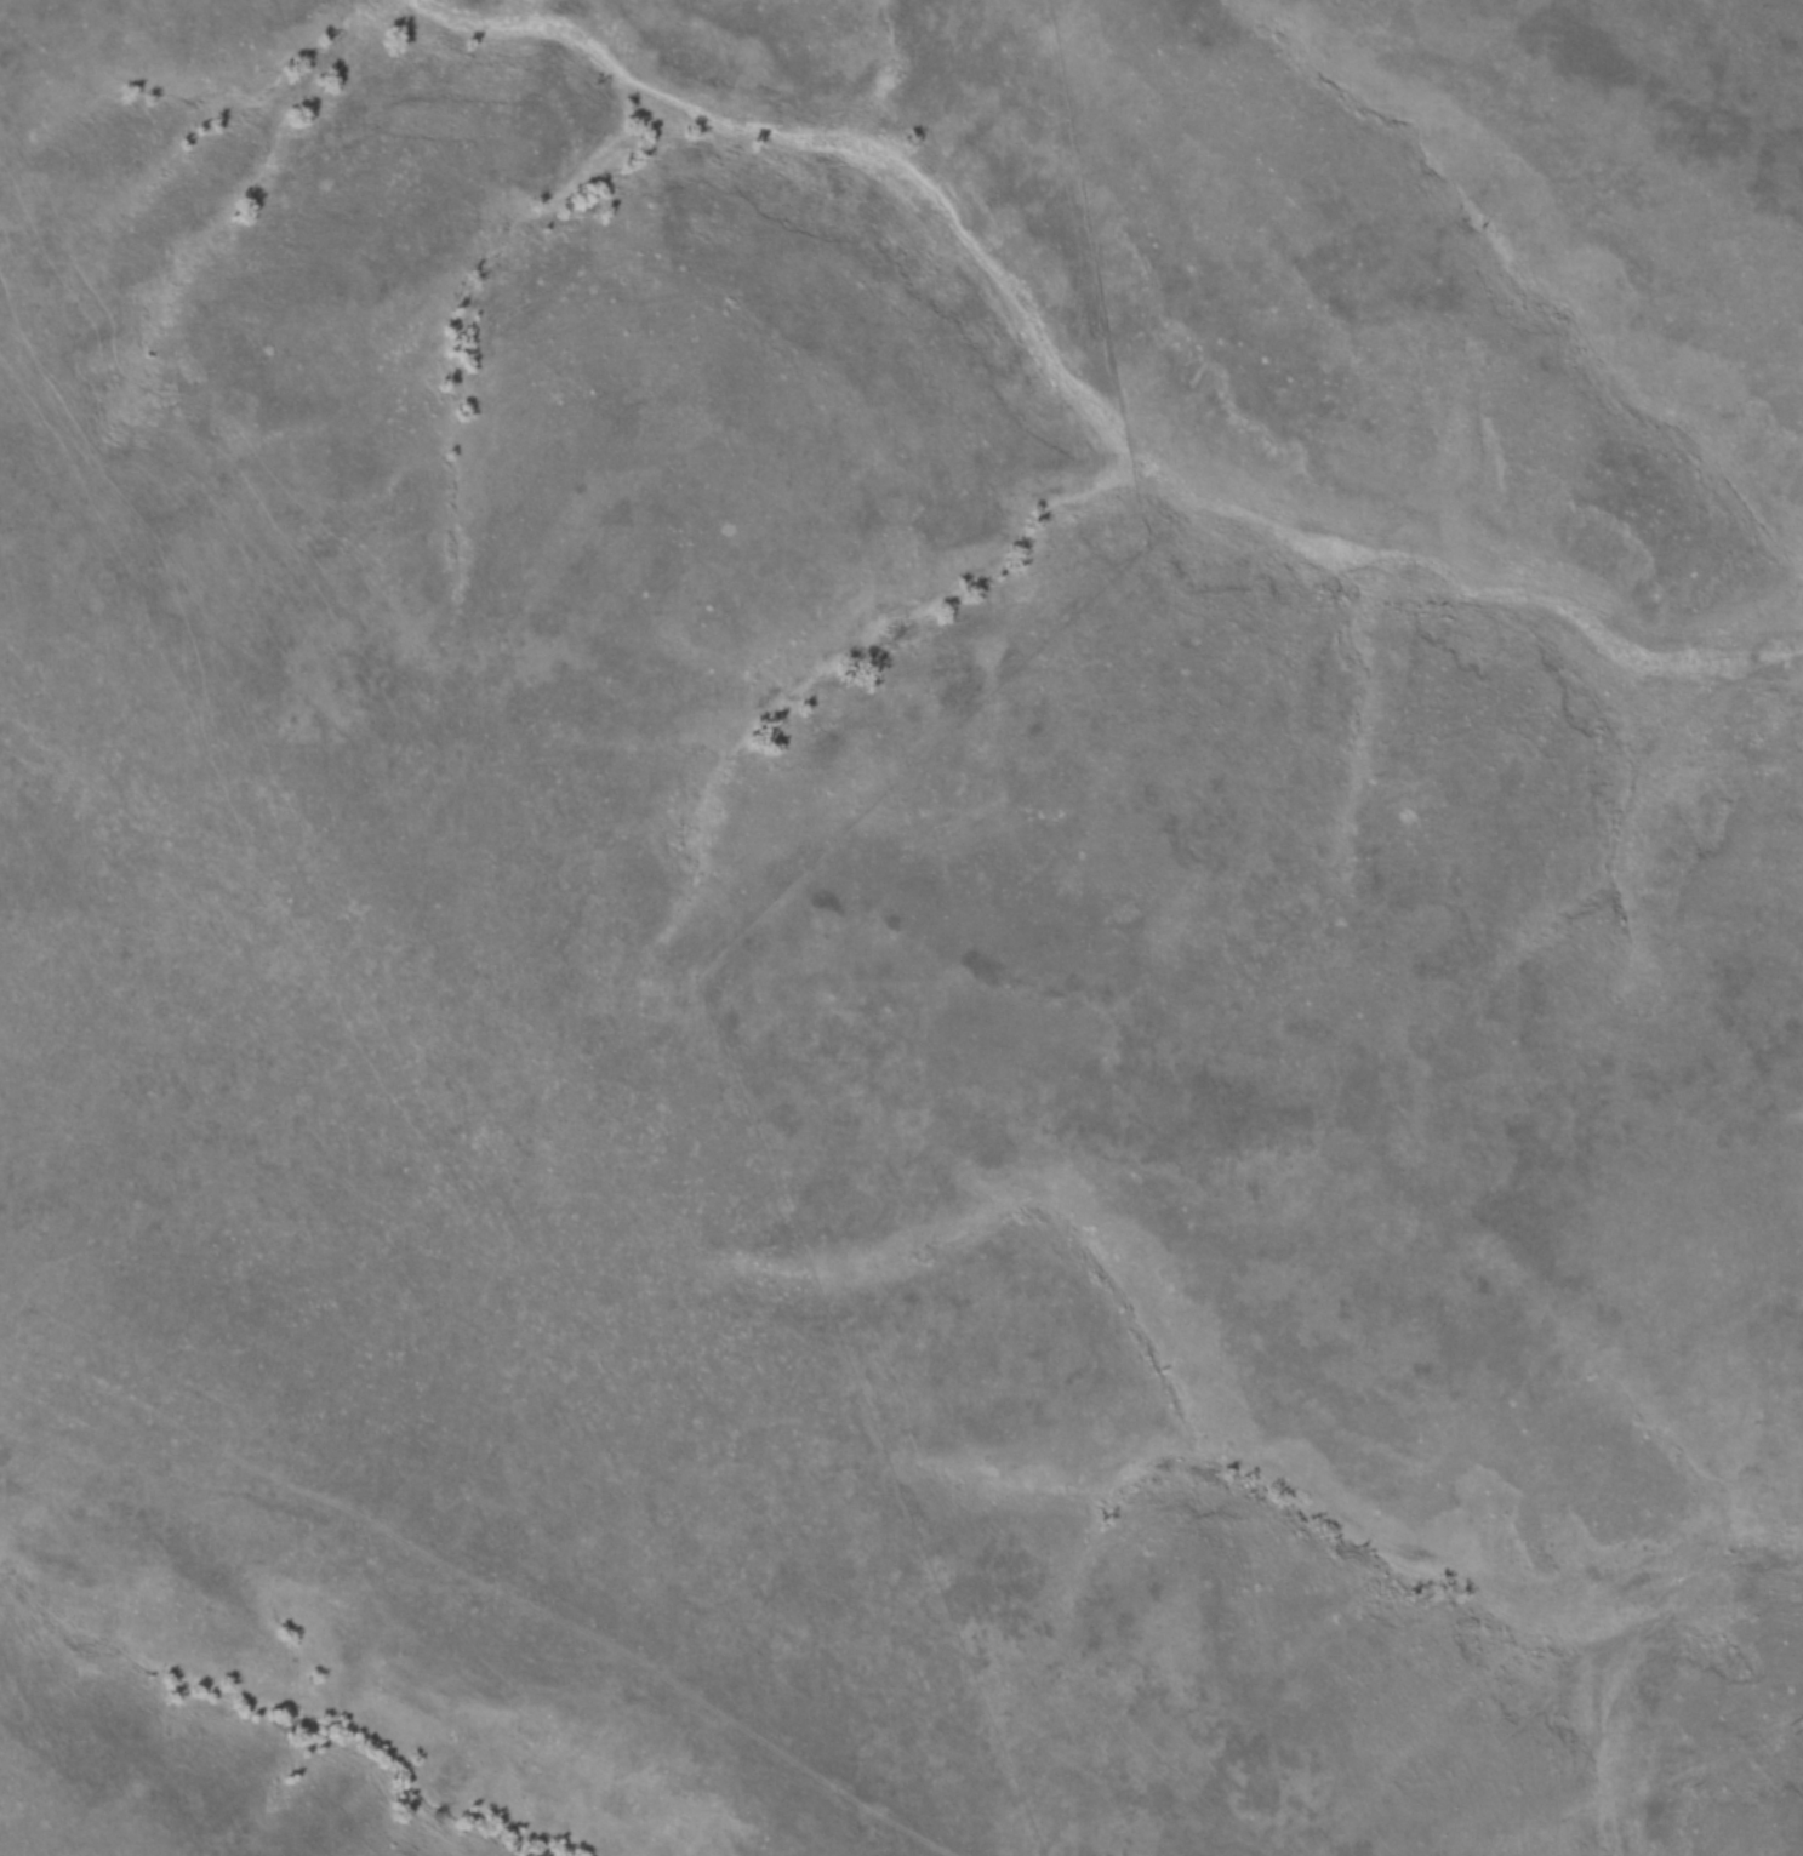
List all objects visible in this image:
power tower: (1791, 1730)

